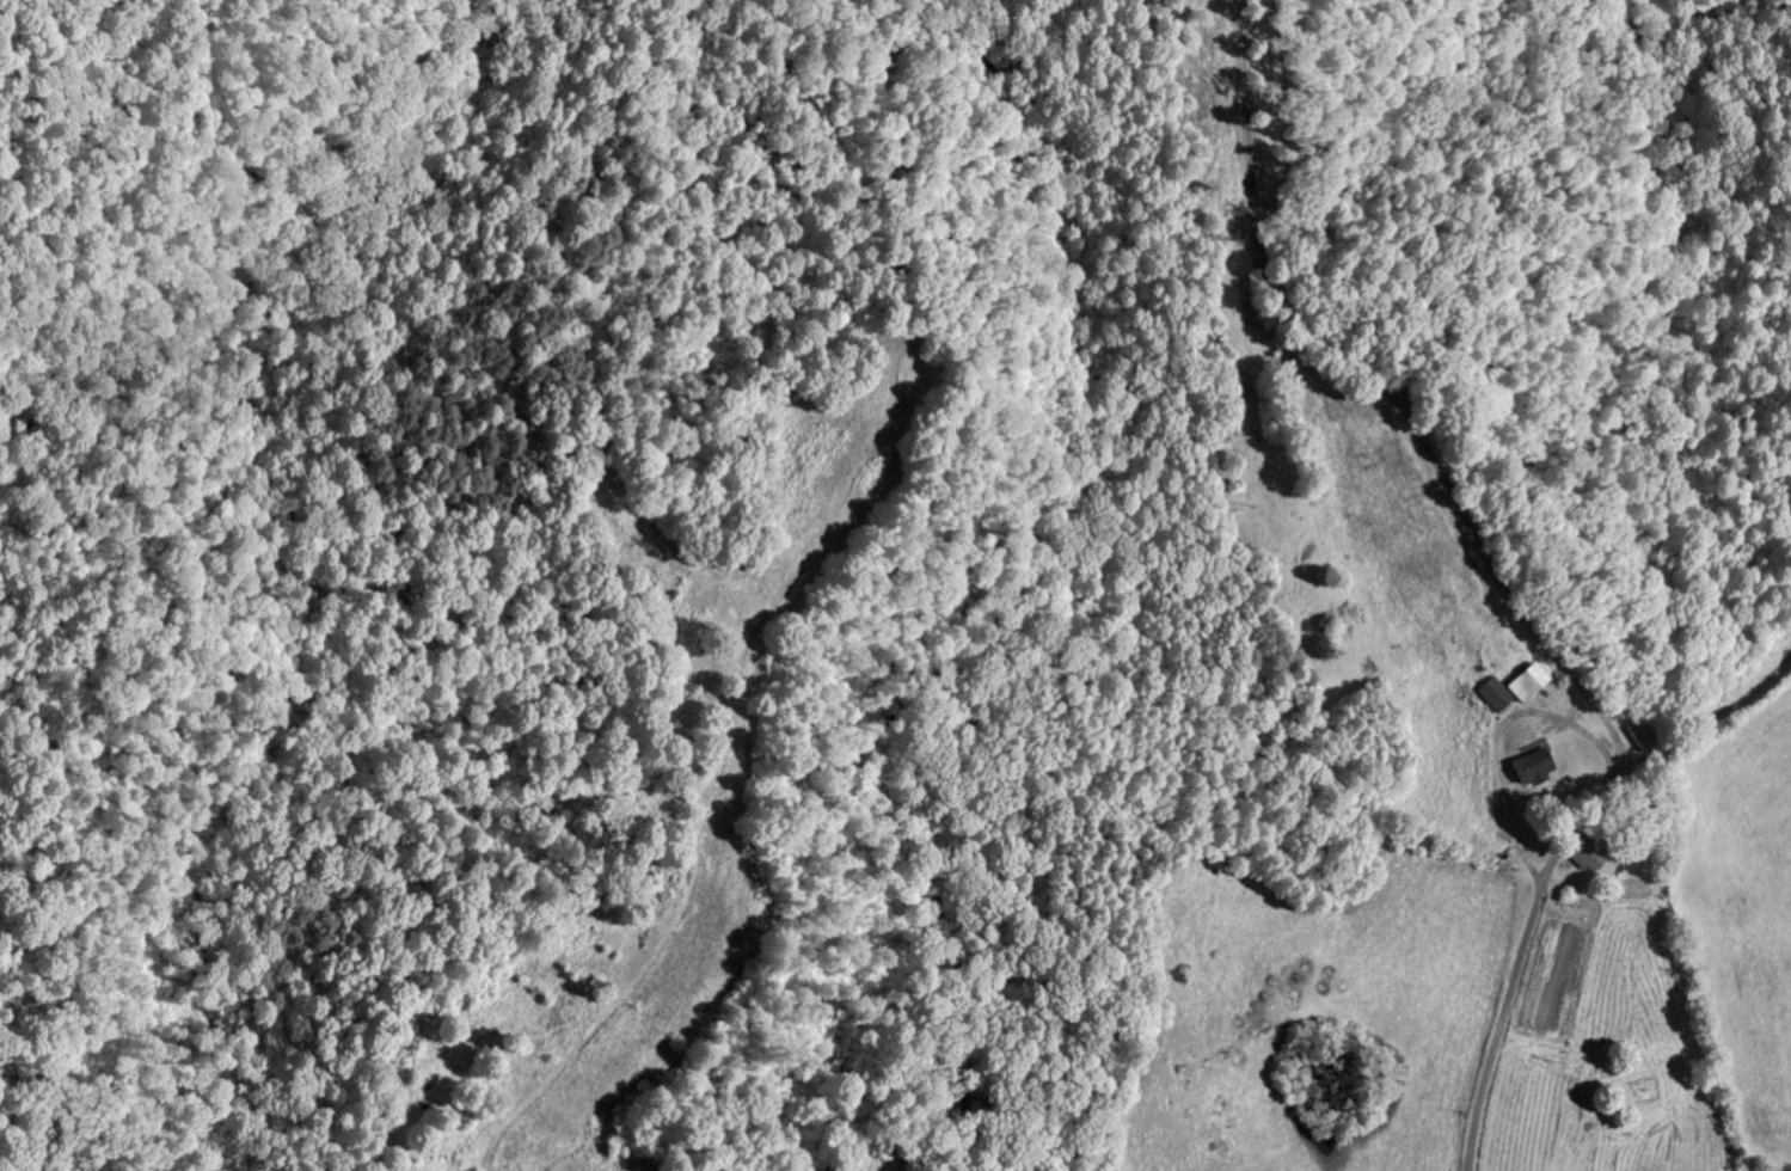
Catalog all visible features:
building: (1519, 686)
building: (1488, 698)
building: (1526, 771)
road: (1164, 809)
building: (1580, 860)
road: (1593, 894)

